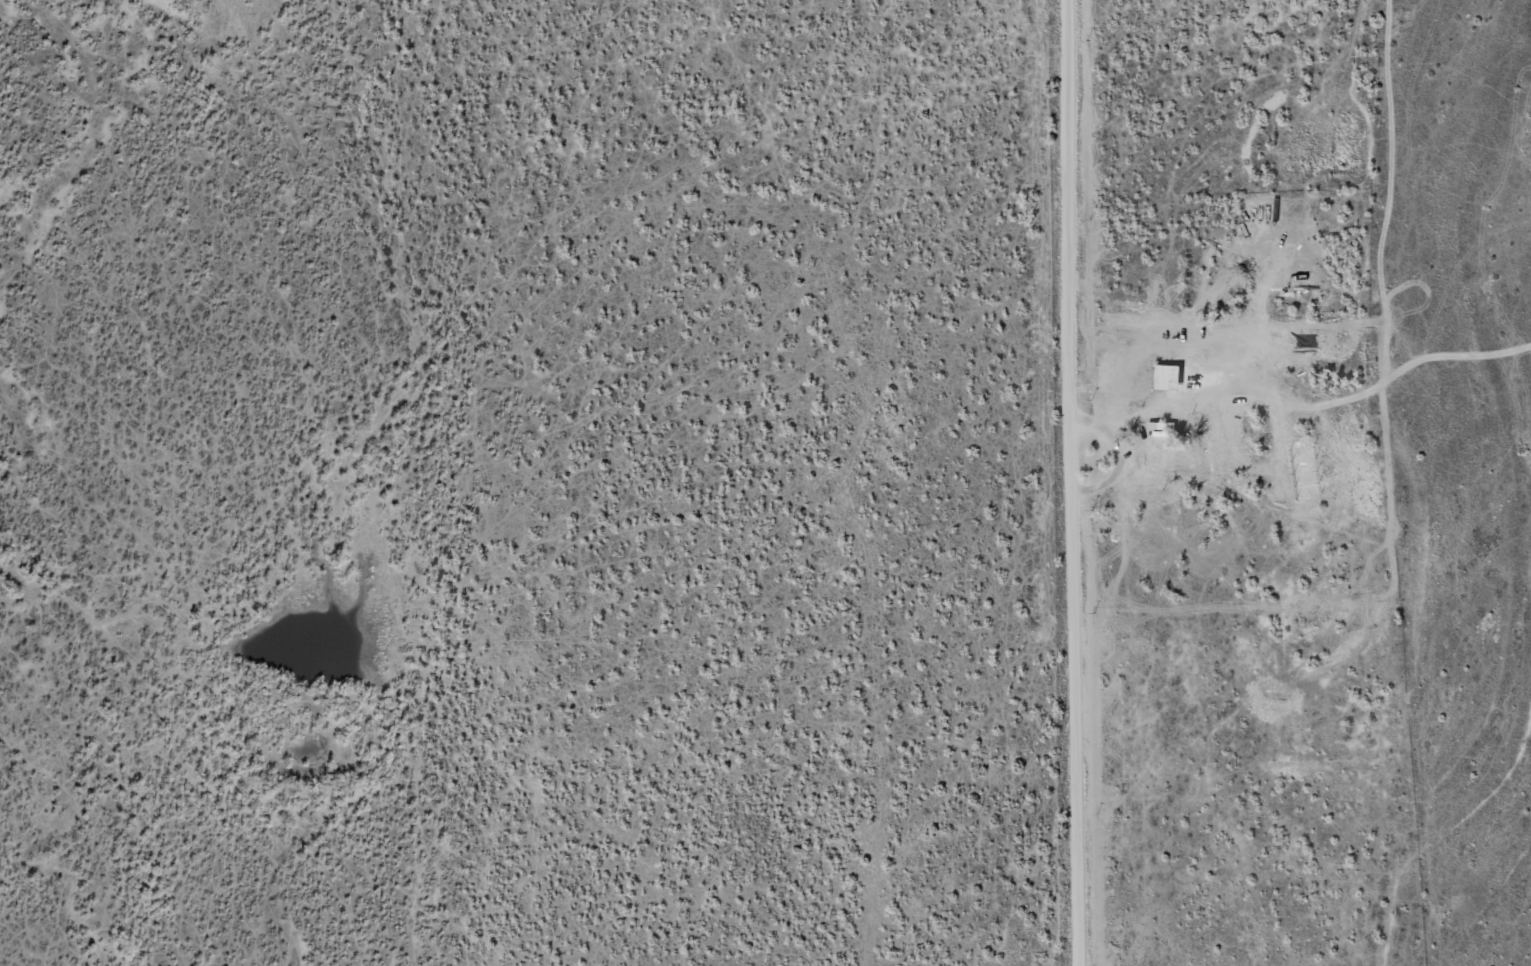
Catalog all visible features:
road: (1070, 483)
road: (1306, 829)

